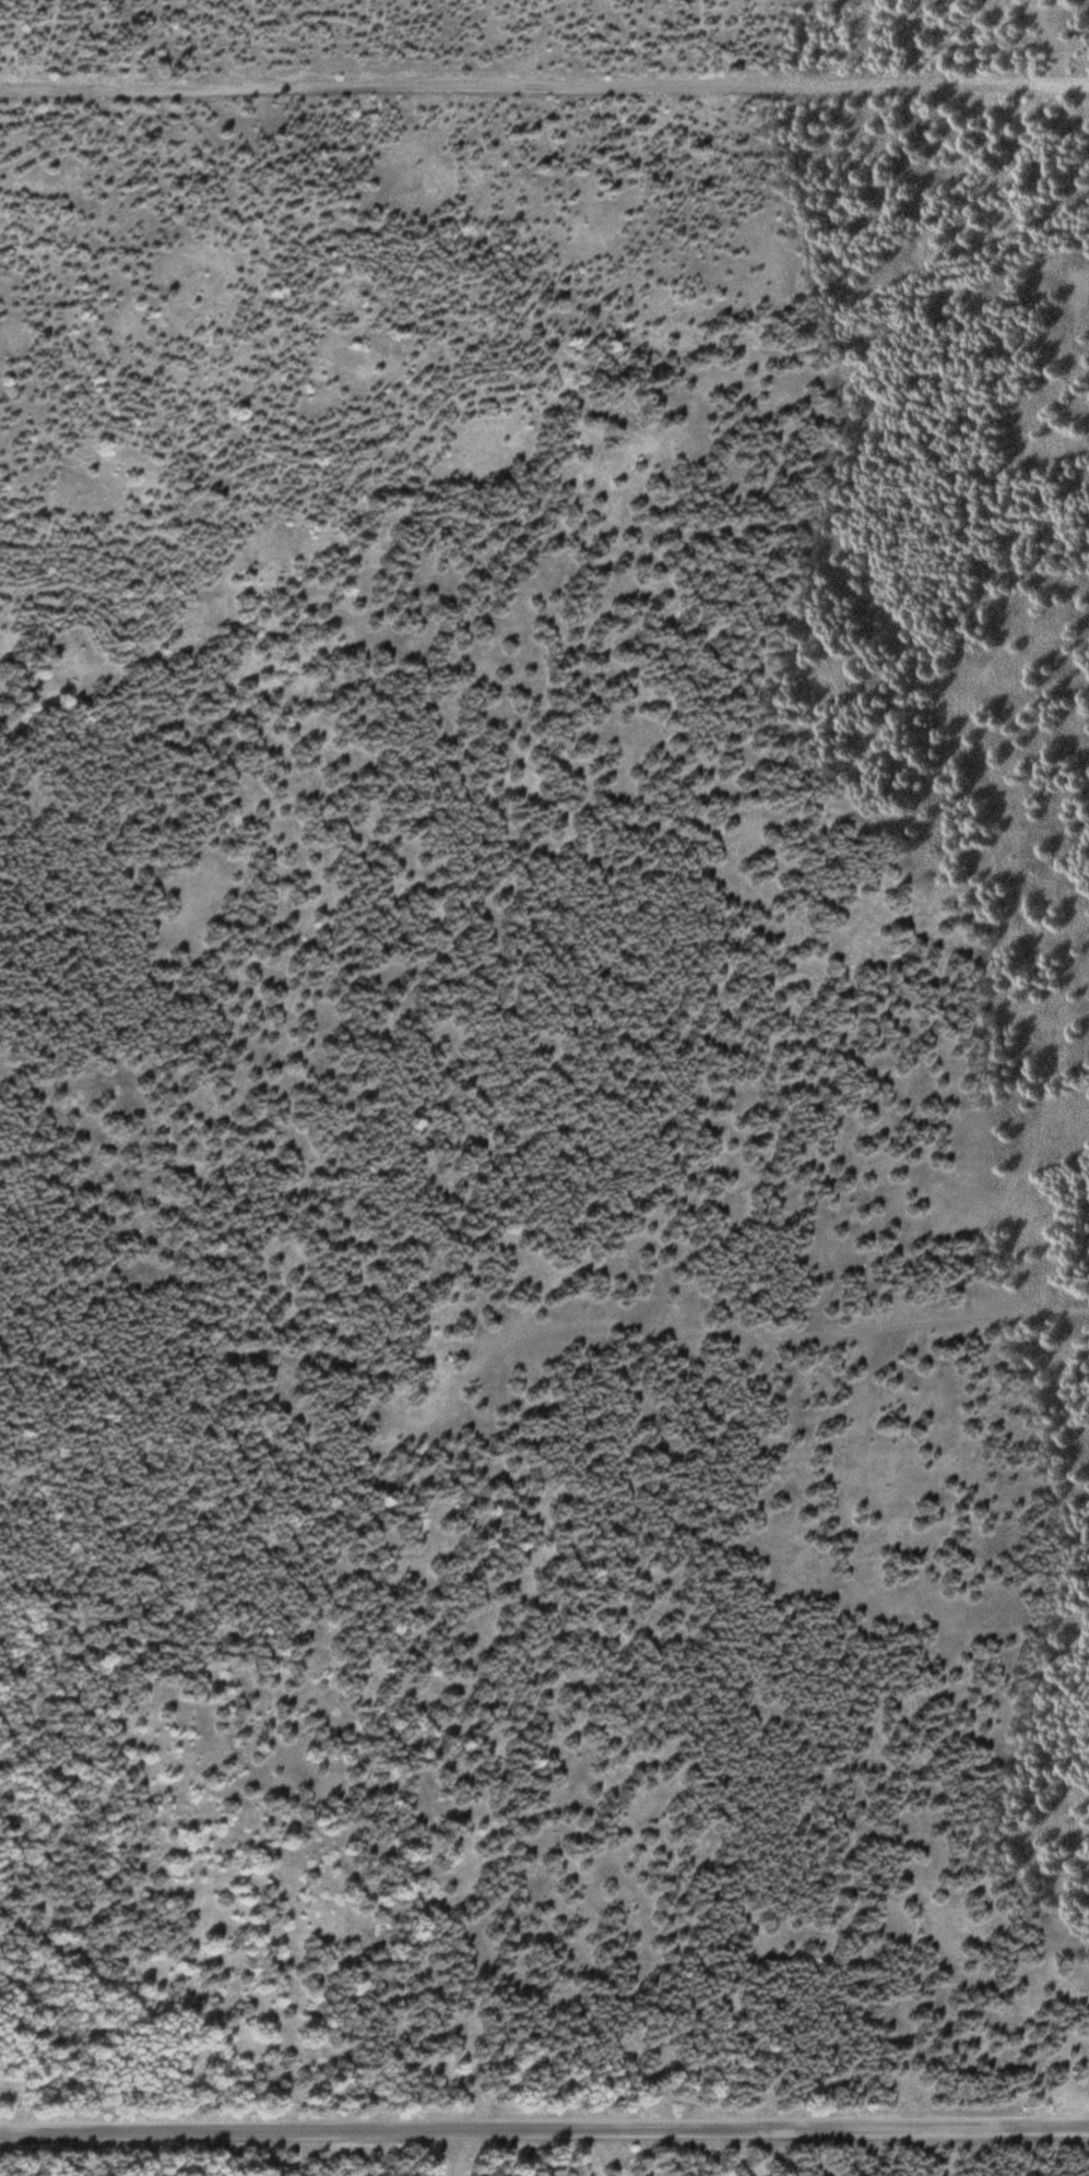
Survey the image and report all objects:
road: (544, 87)
road: (544, 2133)
road: (832, 2153)
road: (465, 2155)

